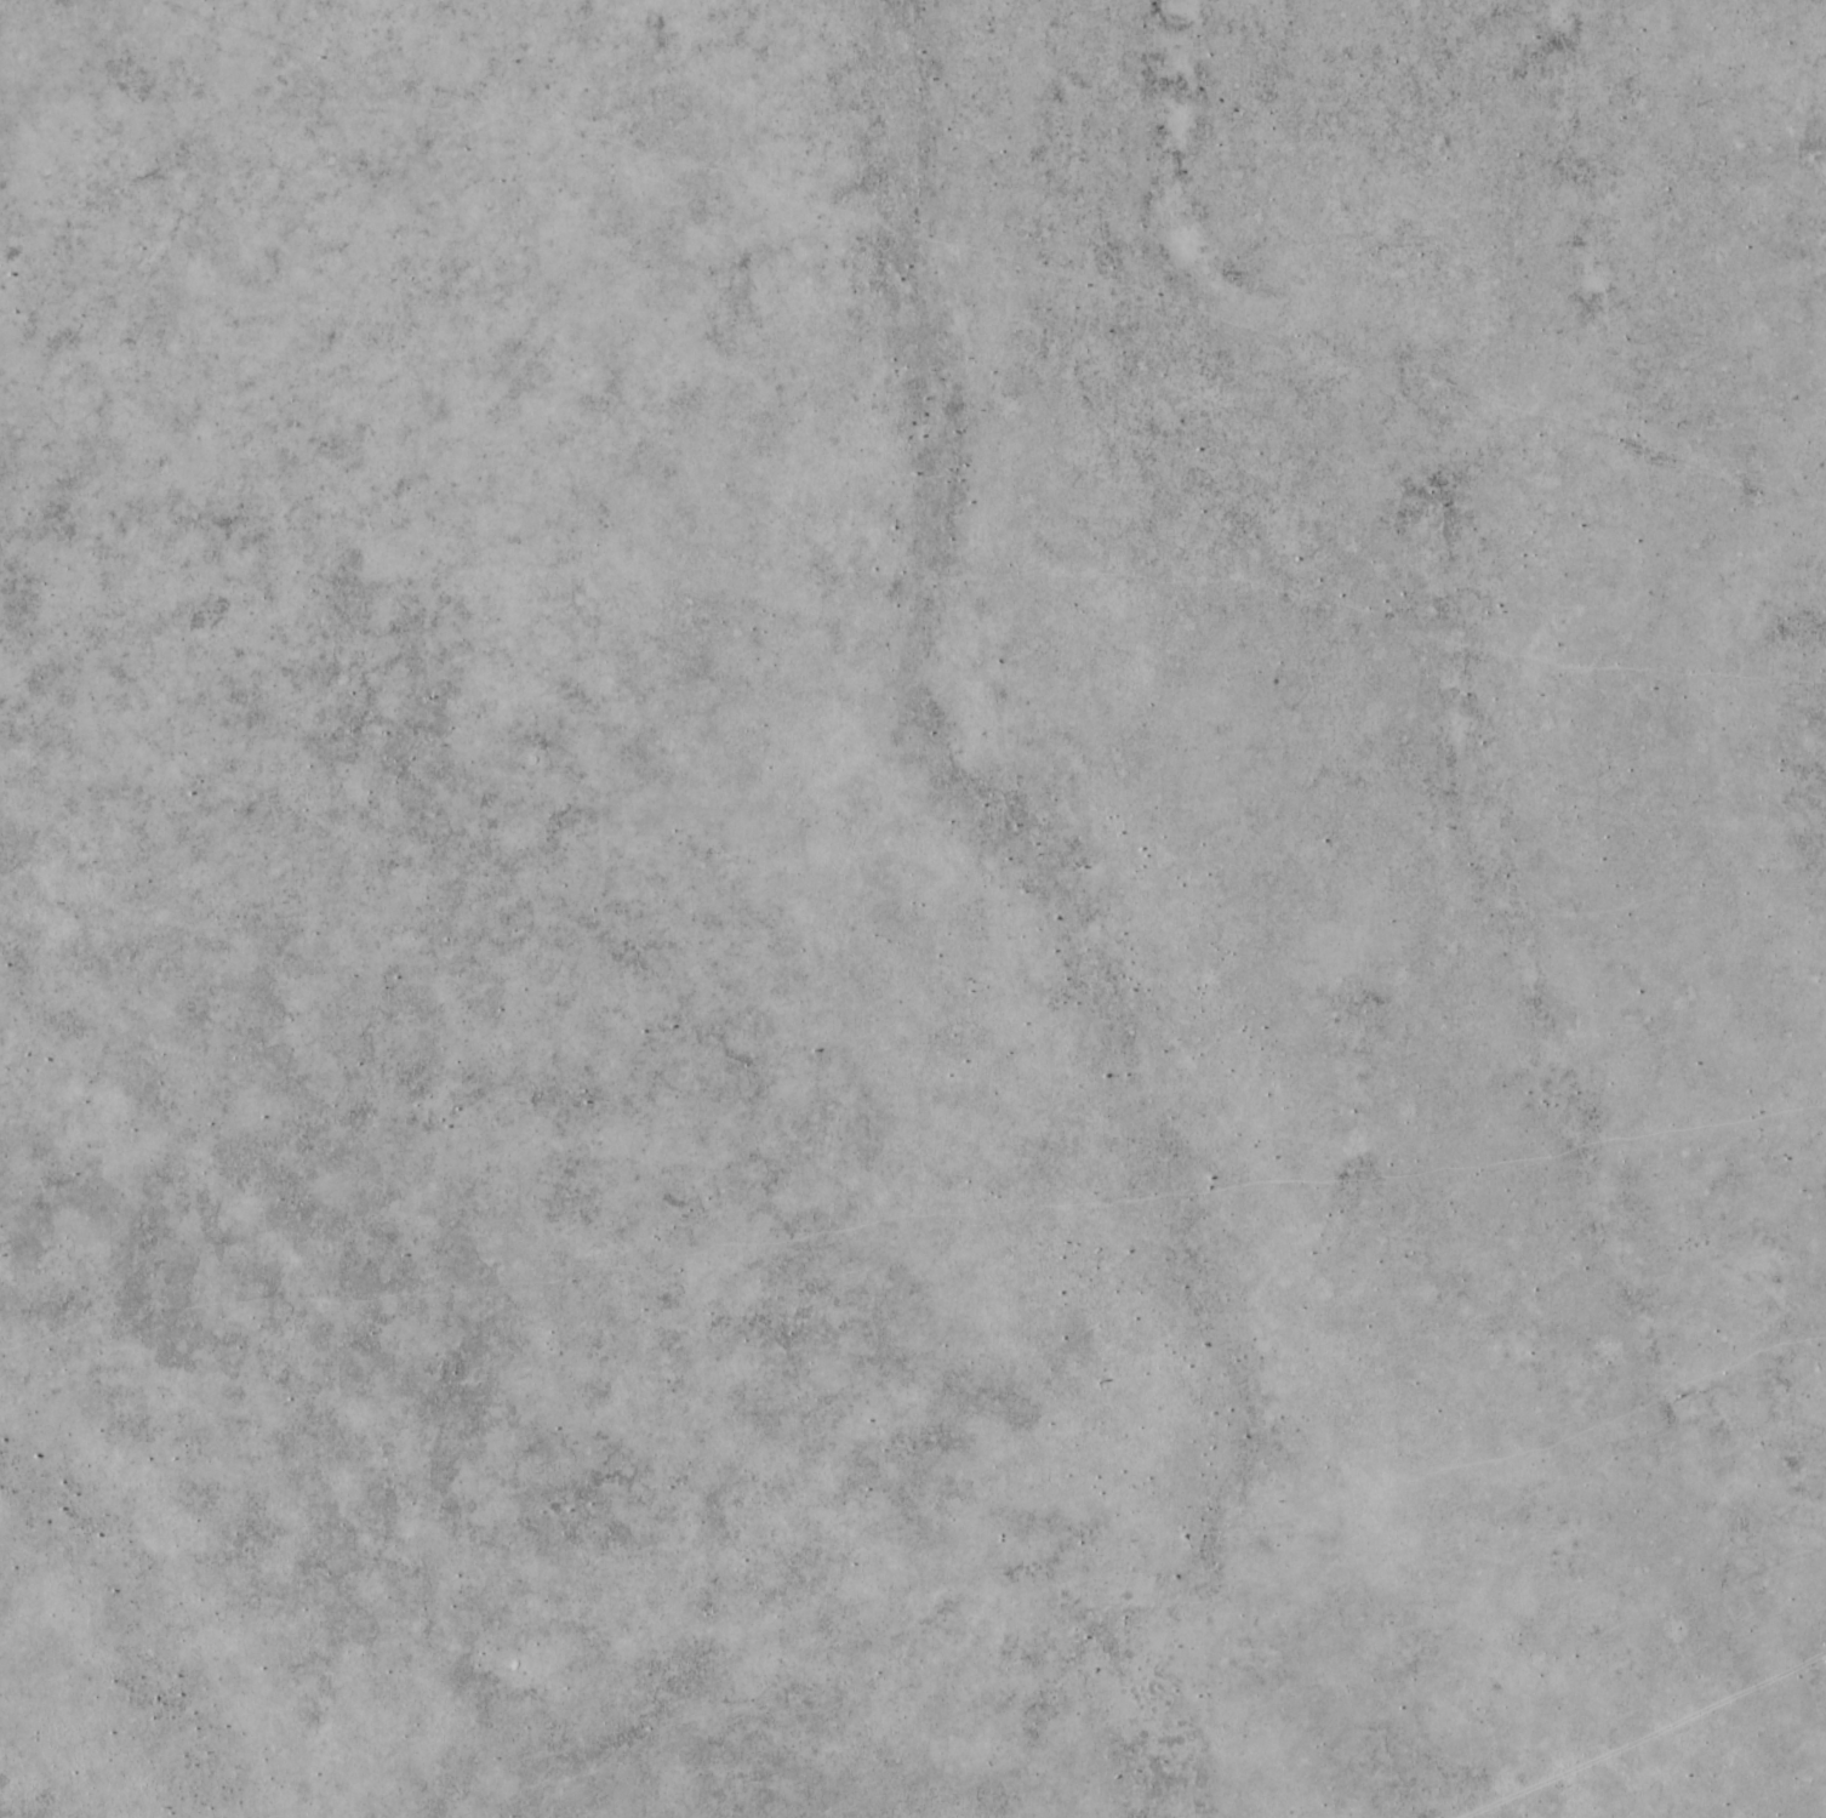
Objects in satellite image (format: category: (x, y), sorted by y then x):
road: (1626, 1723)

